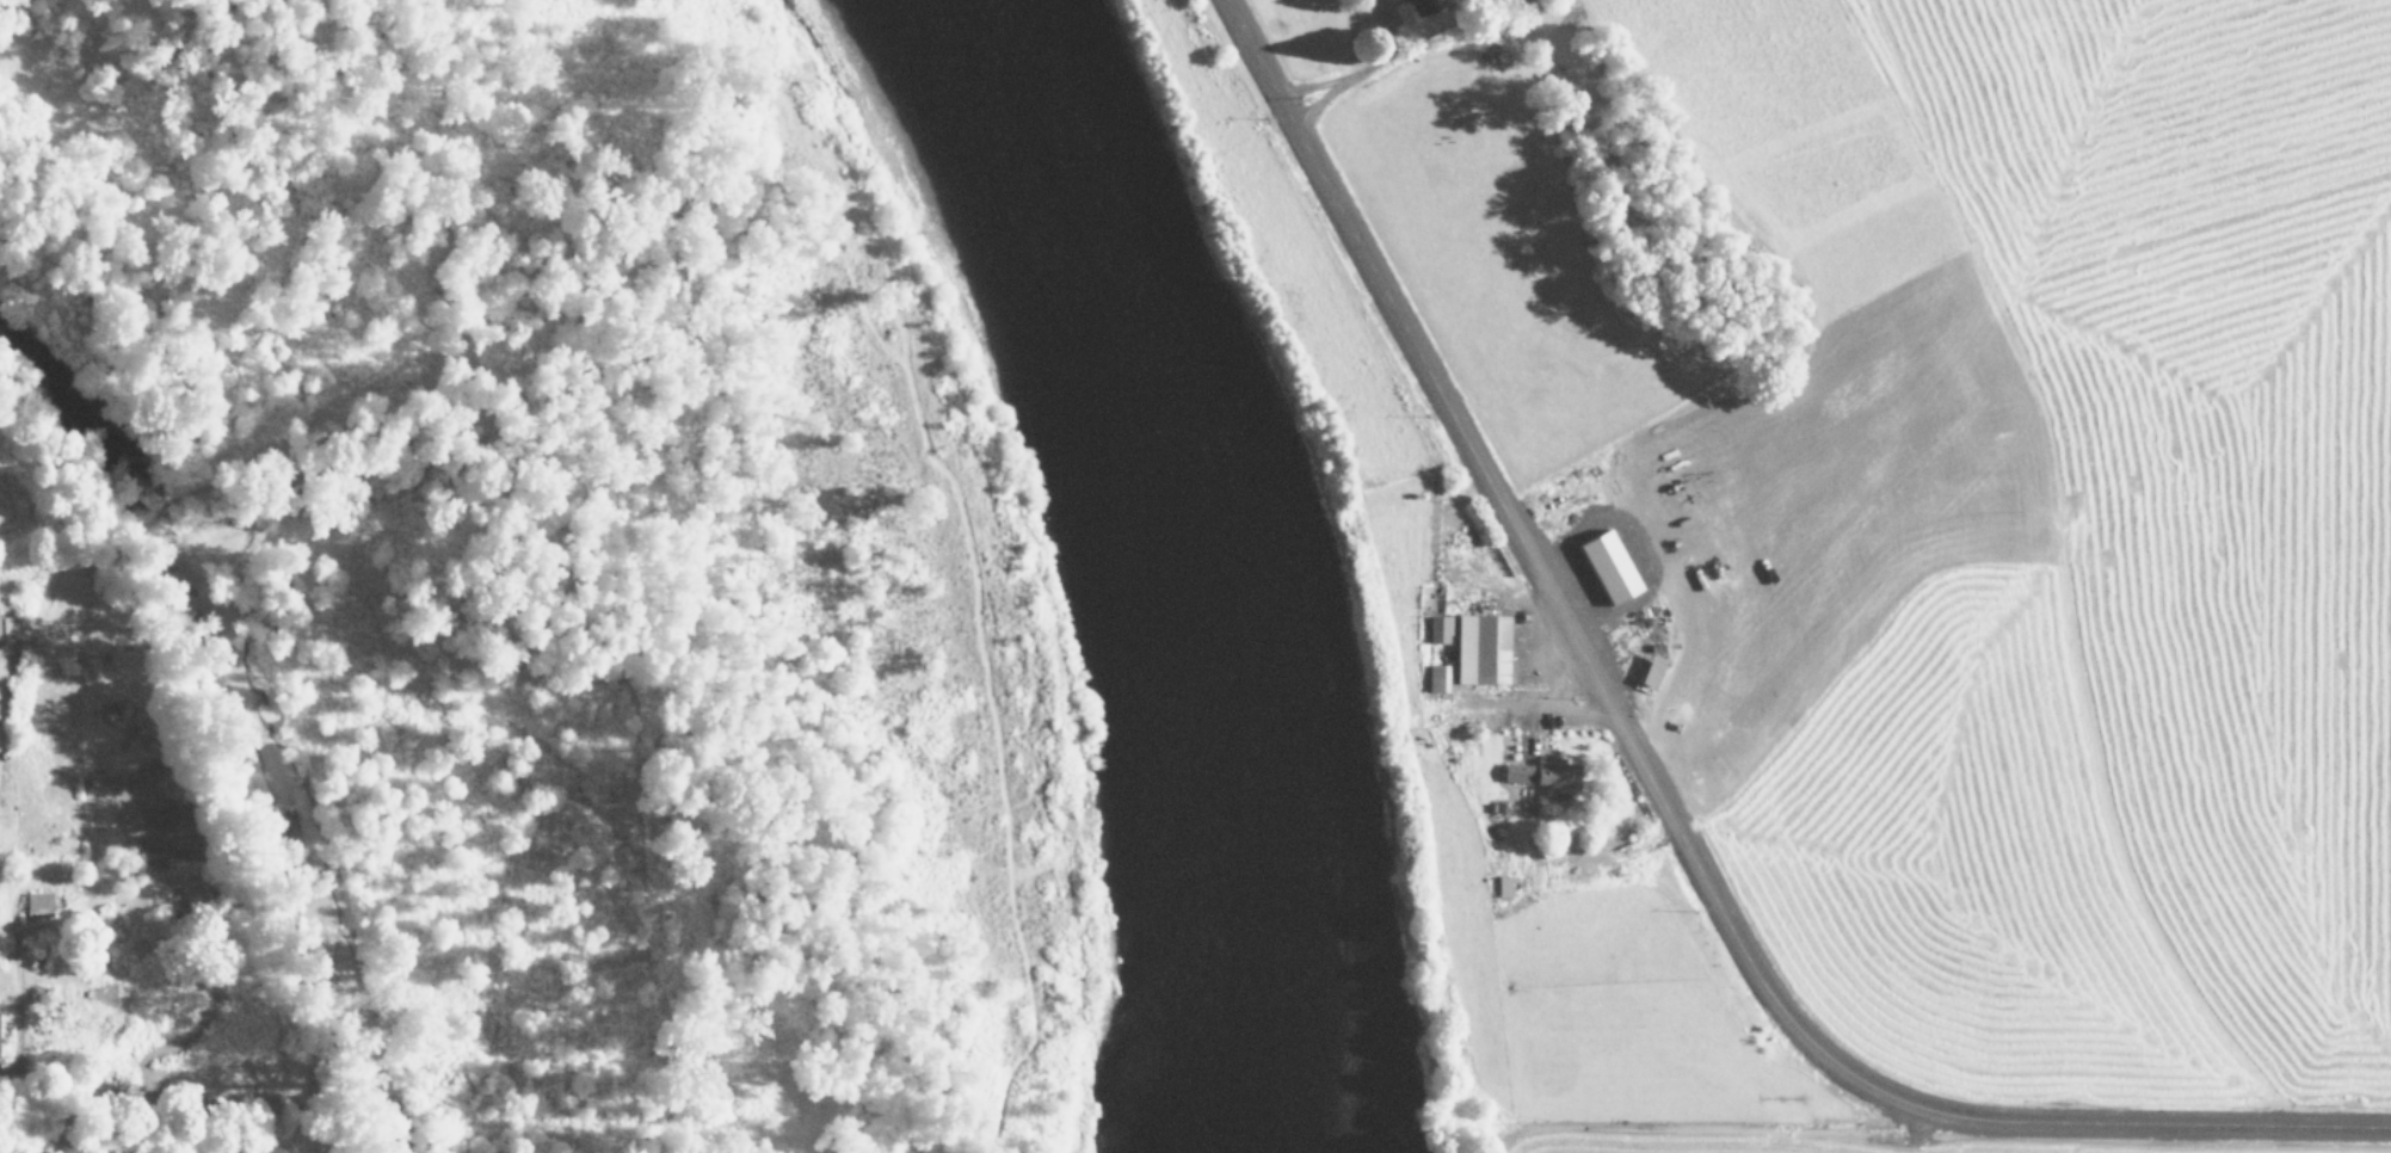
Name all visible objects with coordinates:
building: (1423, 6)
crop: (1840, 543)
river: (1187, 555)
building: (1610, 567)
building: (10, 627)
building: (1440, 628)
building: (1484, 649)
building: (1654, 670)
building: (1438, 677)
building: (1545, 772)
road: (1647, 788)
building: (1504, 886)
crop: (84, 896)
building: (39, 904)

